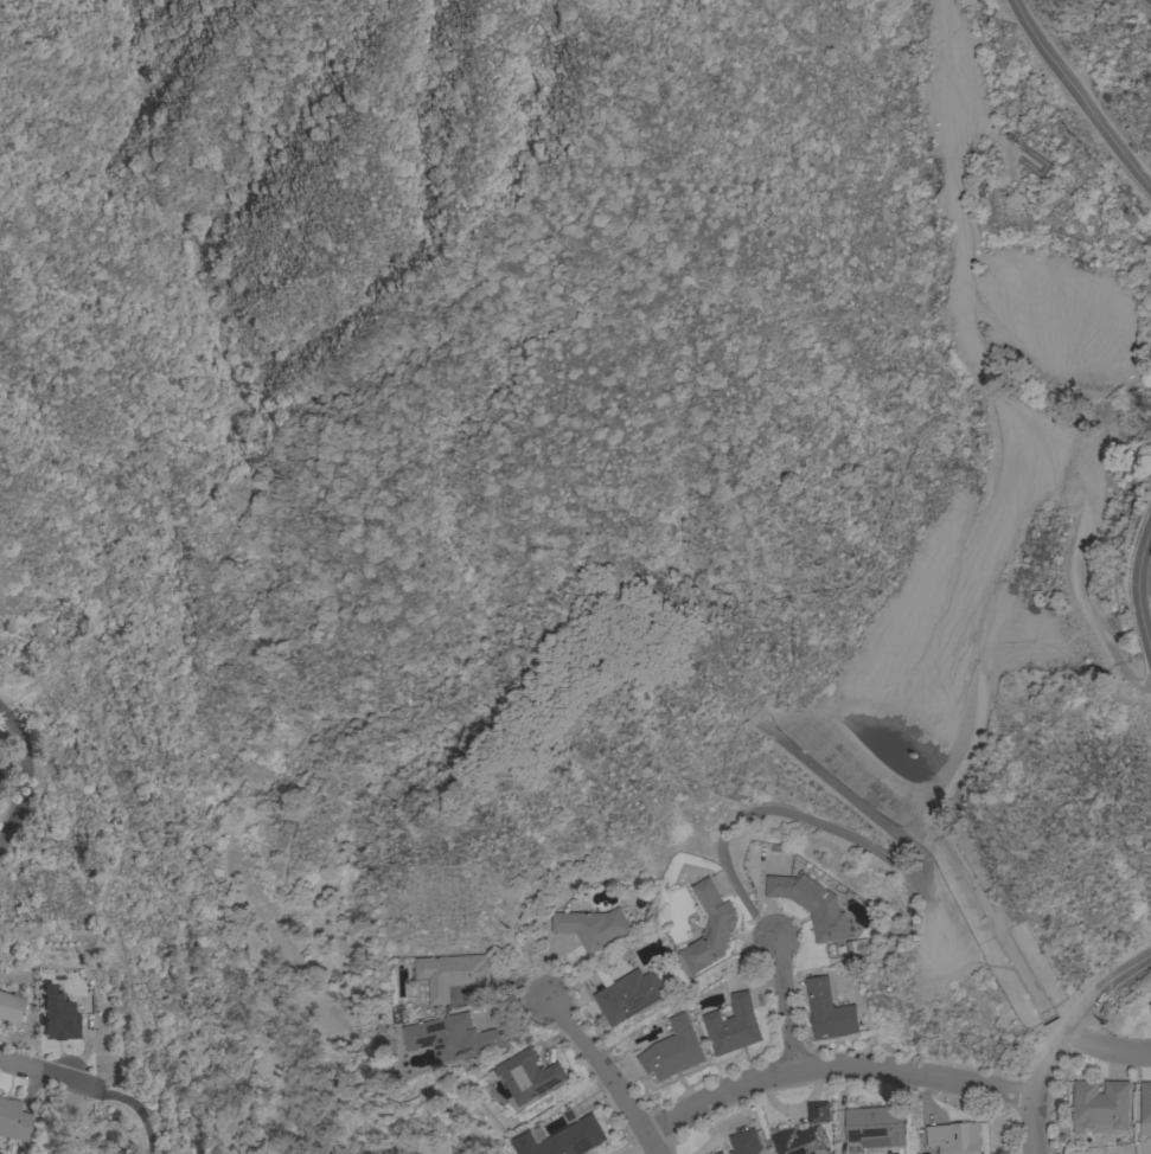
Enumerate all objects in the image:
road: (1078, 96)
road: (1137, 592)
road: (24, 777)
building: (811, 904)
building: (590, 927)
building: (709, 928)
building: (450, 973)
road: (1124, 974)
building: (628, 995)
road: (784, 1000)
building: (1150, 1005)
building: (9, 1008)
building: (829, 1011)
building: (57, 1015)
building: (733, 1025)
building: (454, 1037)
building: (673, 1050)
road: (1105, 1051)
road: (835, 1065)
road: (1049, 1065)
road: (601, 1070)
building: (527, 1075)
road: (49, 1076)
building: (1101, 1103)
building: (1145, 1108)
road: (134, 1114)
building: (14, 1121)
building: (876, 1126)
building: (806, 1133)
building: (955, 1137)
building: (564, 1139)
building: (744, 1142)
building: (718, 1153)

